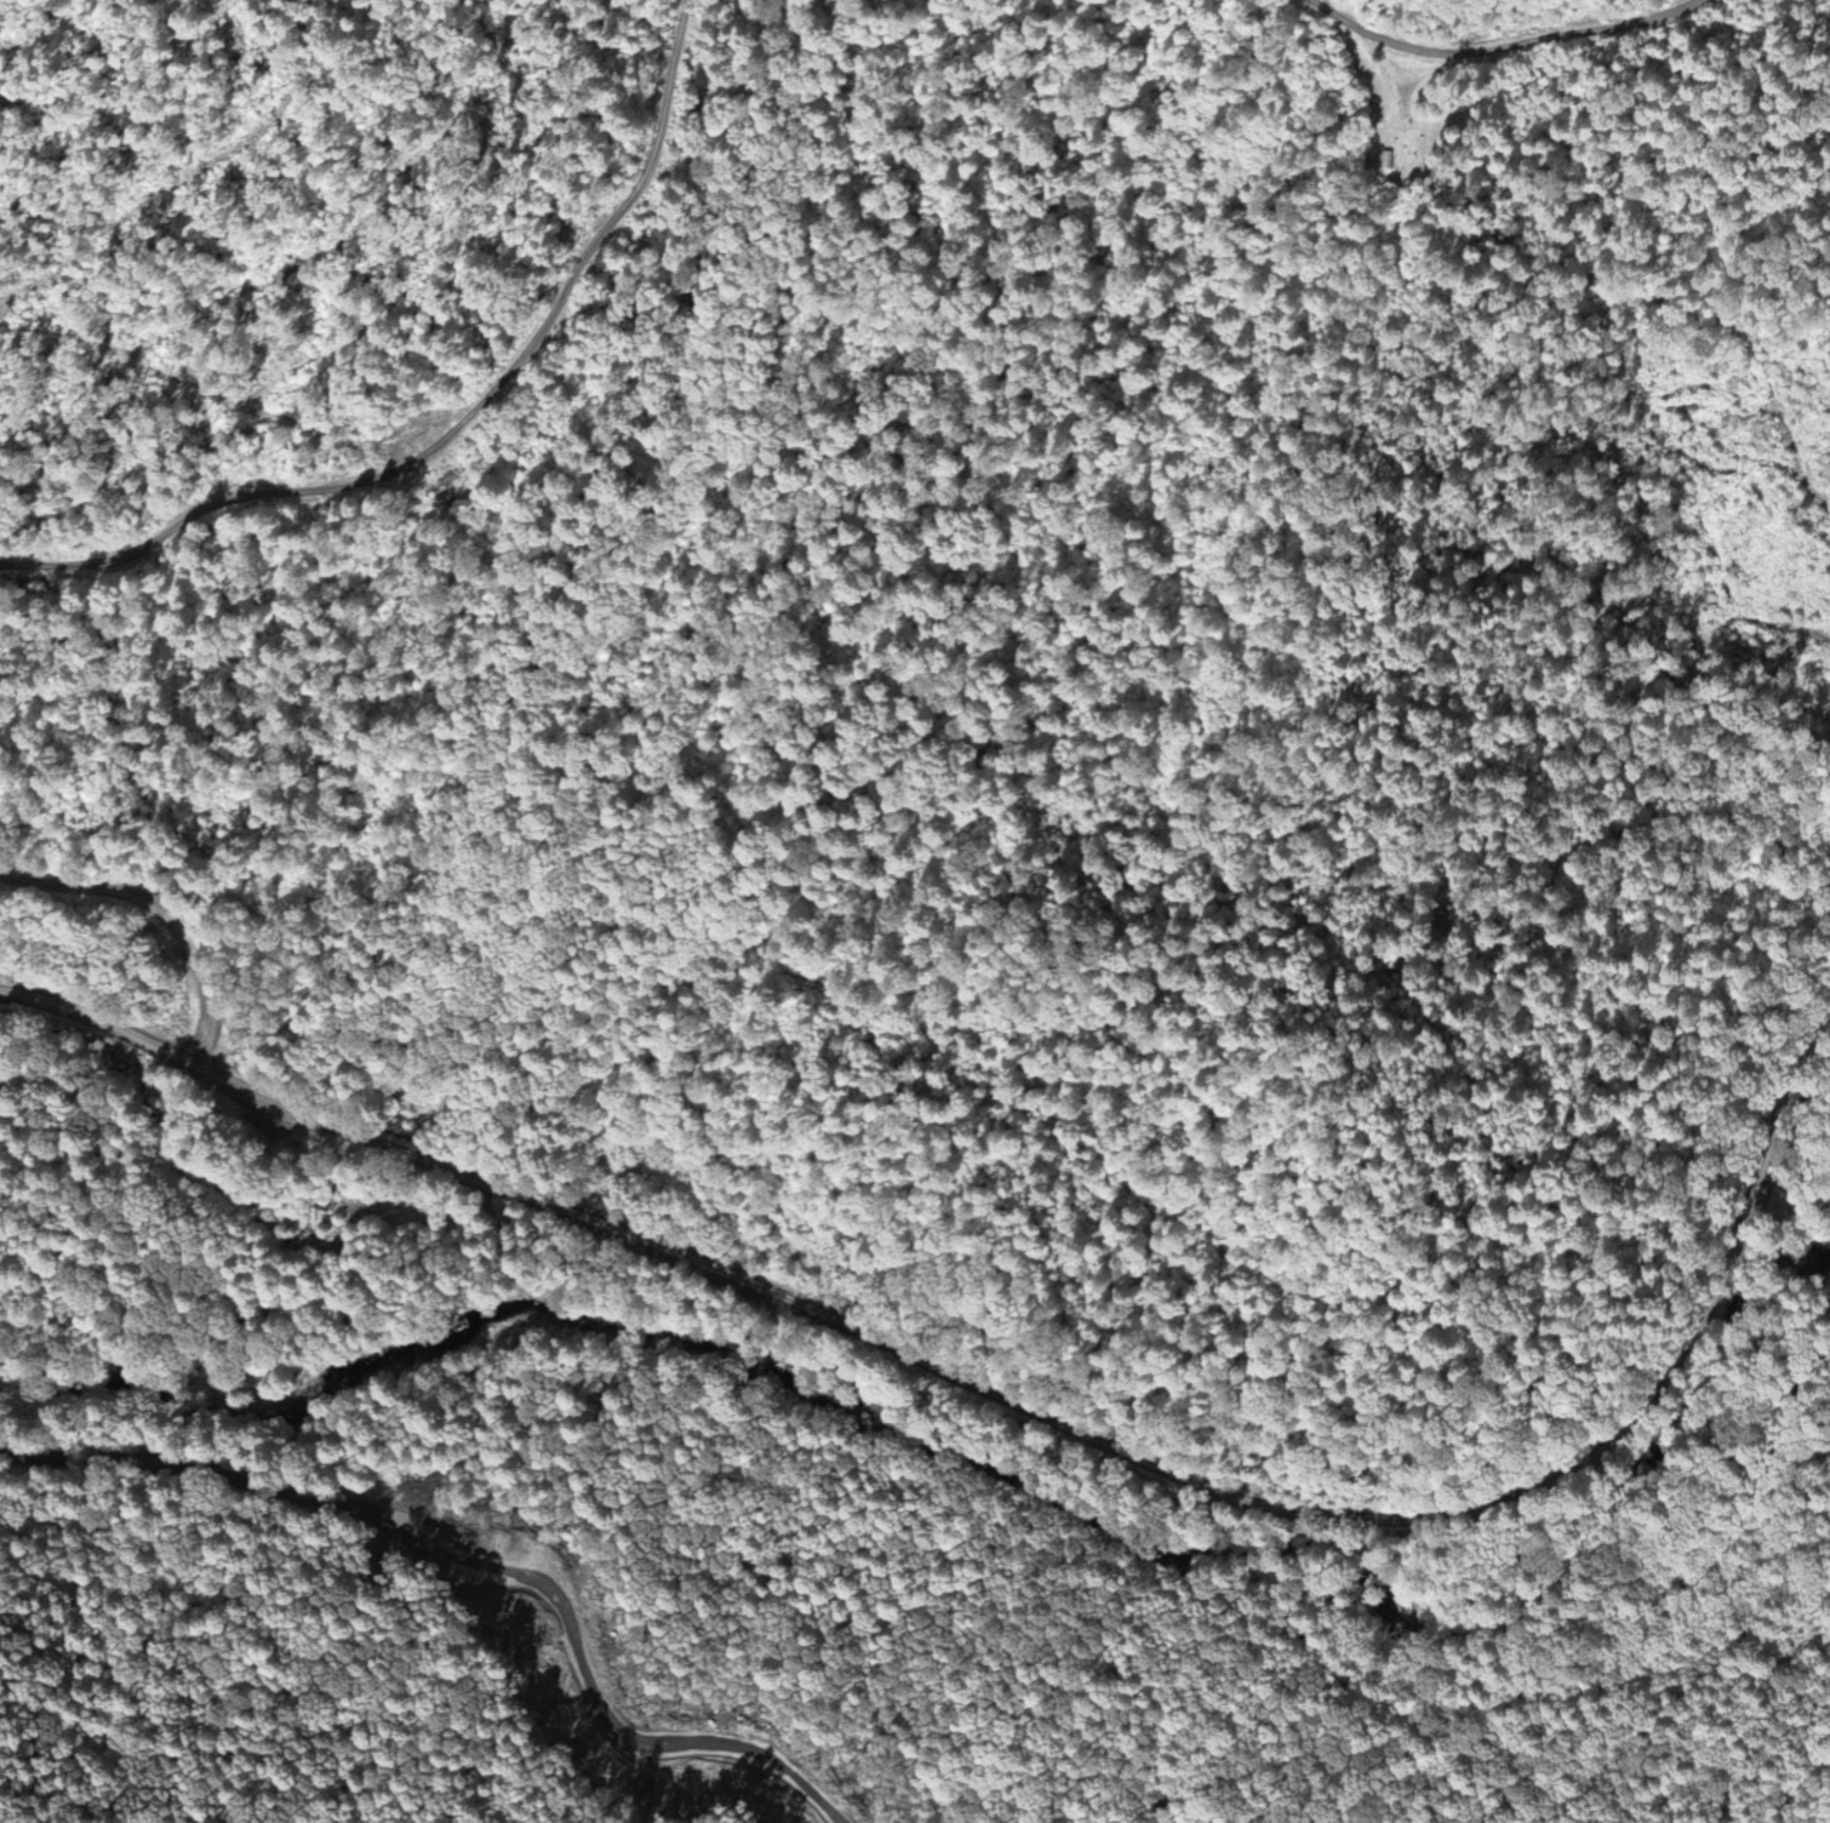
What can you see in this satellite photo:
road: (1731, 1262)
road: (784, 1297)

